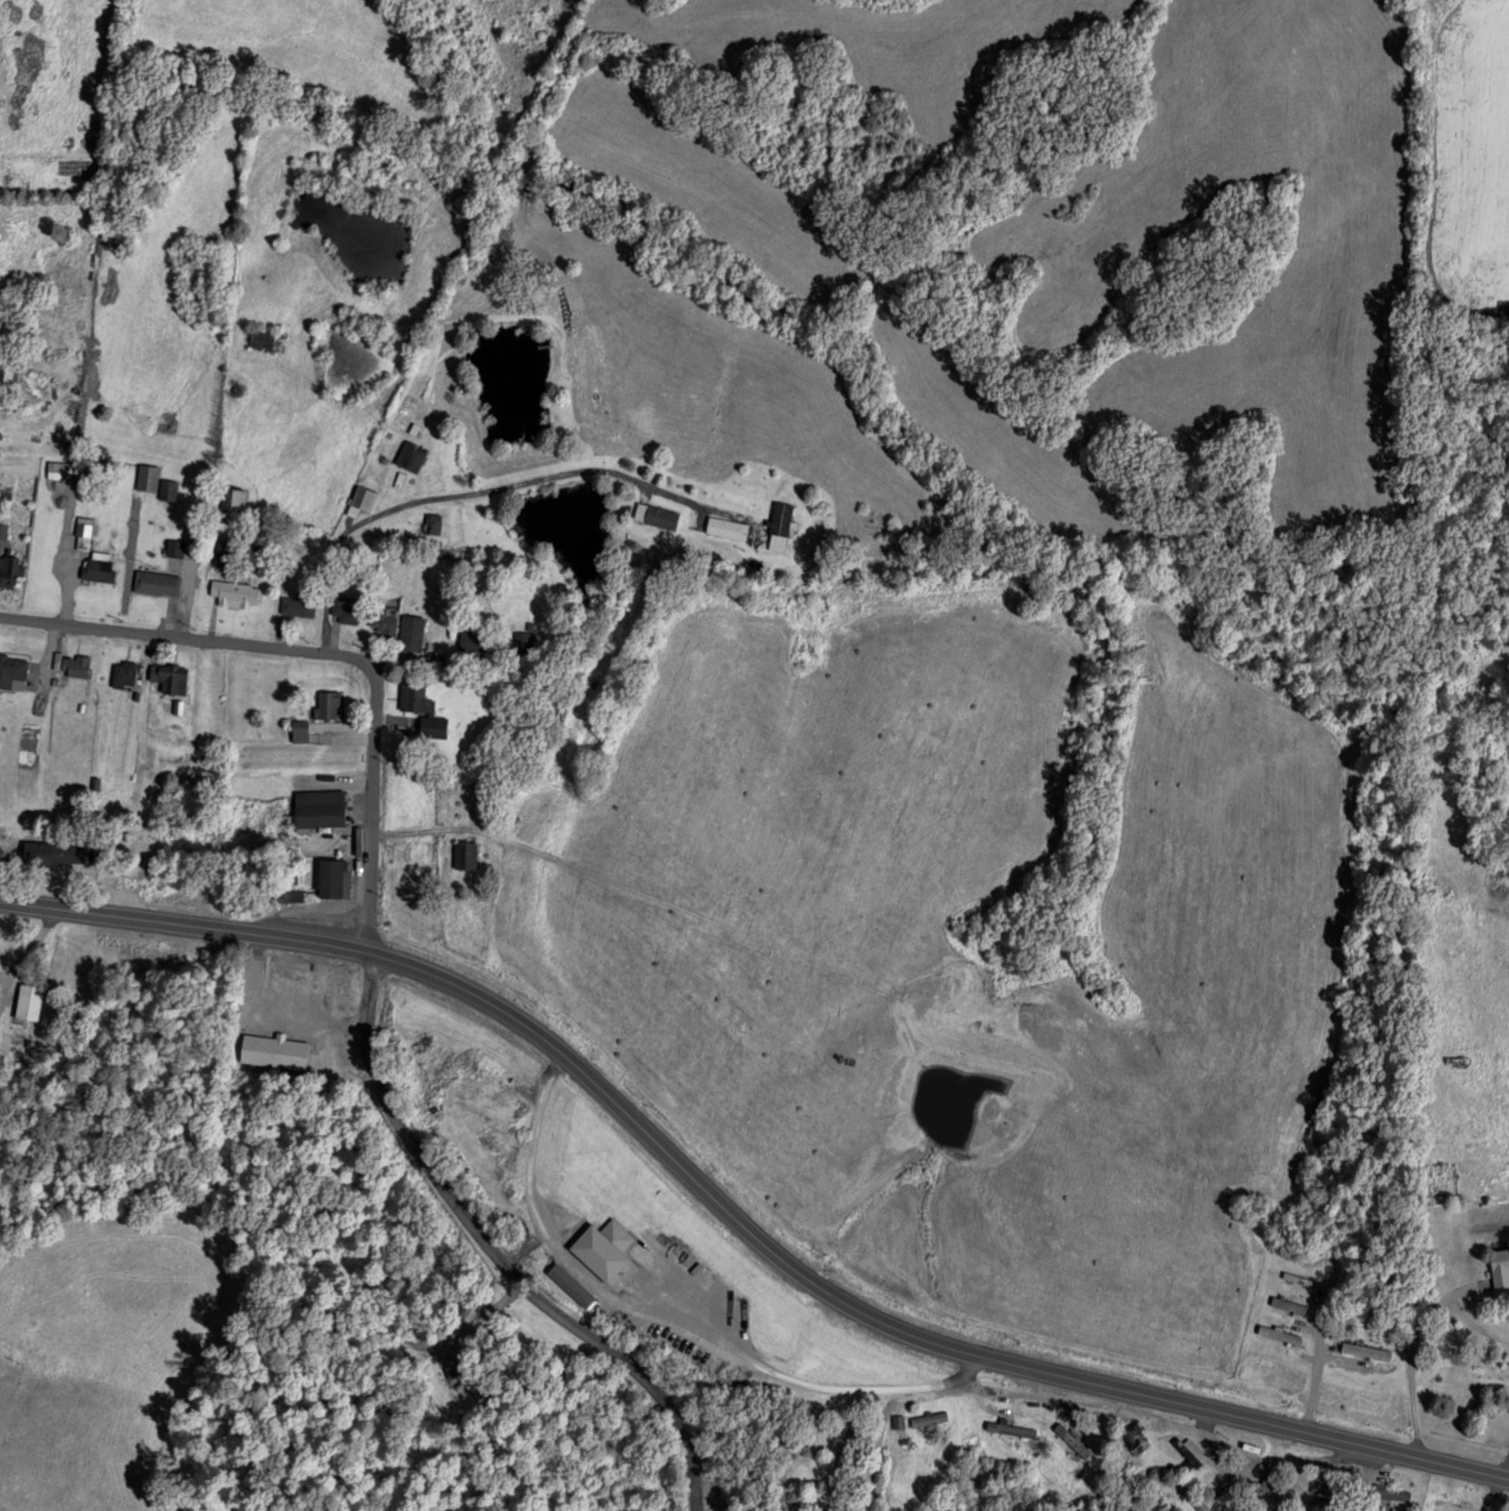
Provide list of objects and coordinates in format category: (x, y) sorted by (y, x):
building: (261, 337)
building: (410, 455)
building: (60, 468)
building: (147, 477)
building: (167, 489)
road: (462, 491)
building: (4, 497)
building: (231, 498)
building: (360, 500)
building: (655, 514)
building: (779, 525)
building: (726, 527)
building: (2, 531)
building: (83, 532)
building: (175, 547)
building: (225, 551)
building: (97, 566)
building: (9, 569)
building: (156, 582)
building: (235, 593)
building: (297, 607)
building: (346, 609)
building: (380, 621)
building: (412, 633)
road: (185, 635)
building: (473, 643)
building: (523, 644)
building: (75, 665)
building: (12, 672)
building: (122, 674)
building: (168, 676)
building: (414, 698)
building: (327, 704)
building: (433, 727)
road: (374, 807)
building: (318, 808)
building: (45, 854)
building: (463, 855)
building: (332, 878)
building: (294, 895)
building: (30, 999)
building: (273, 1051)
road: (735, 1213)
building: (602, 1249)
road: (496, 1254)
building: (1499, 1268)
road: (662, 1317)
building: (929, 1419)
building: (1009, 1429)
building: (1135, 1439)
building: (1071, 1440)
road: (871, 1441)
building: (1191, 1451)
building: (1273, 1489)
building: (1381, 1493)
road: (706, 1495)
building: (1195, 1498)

